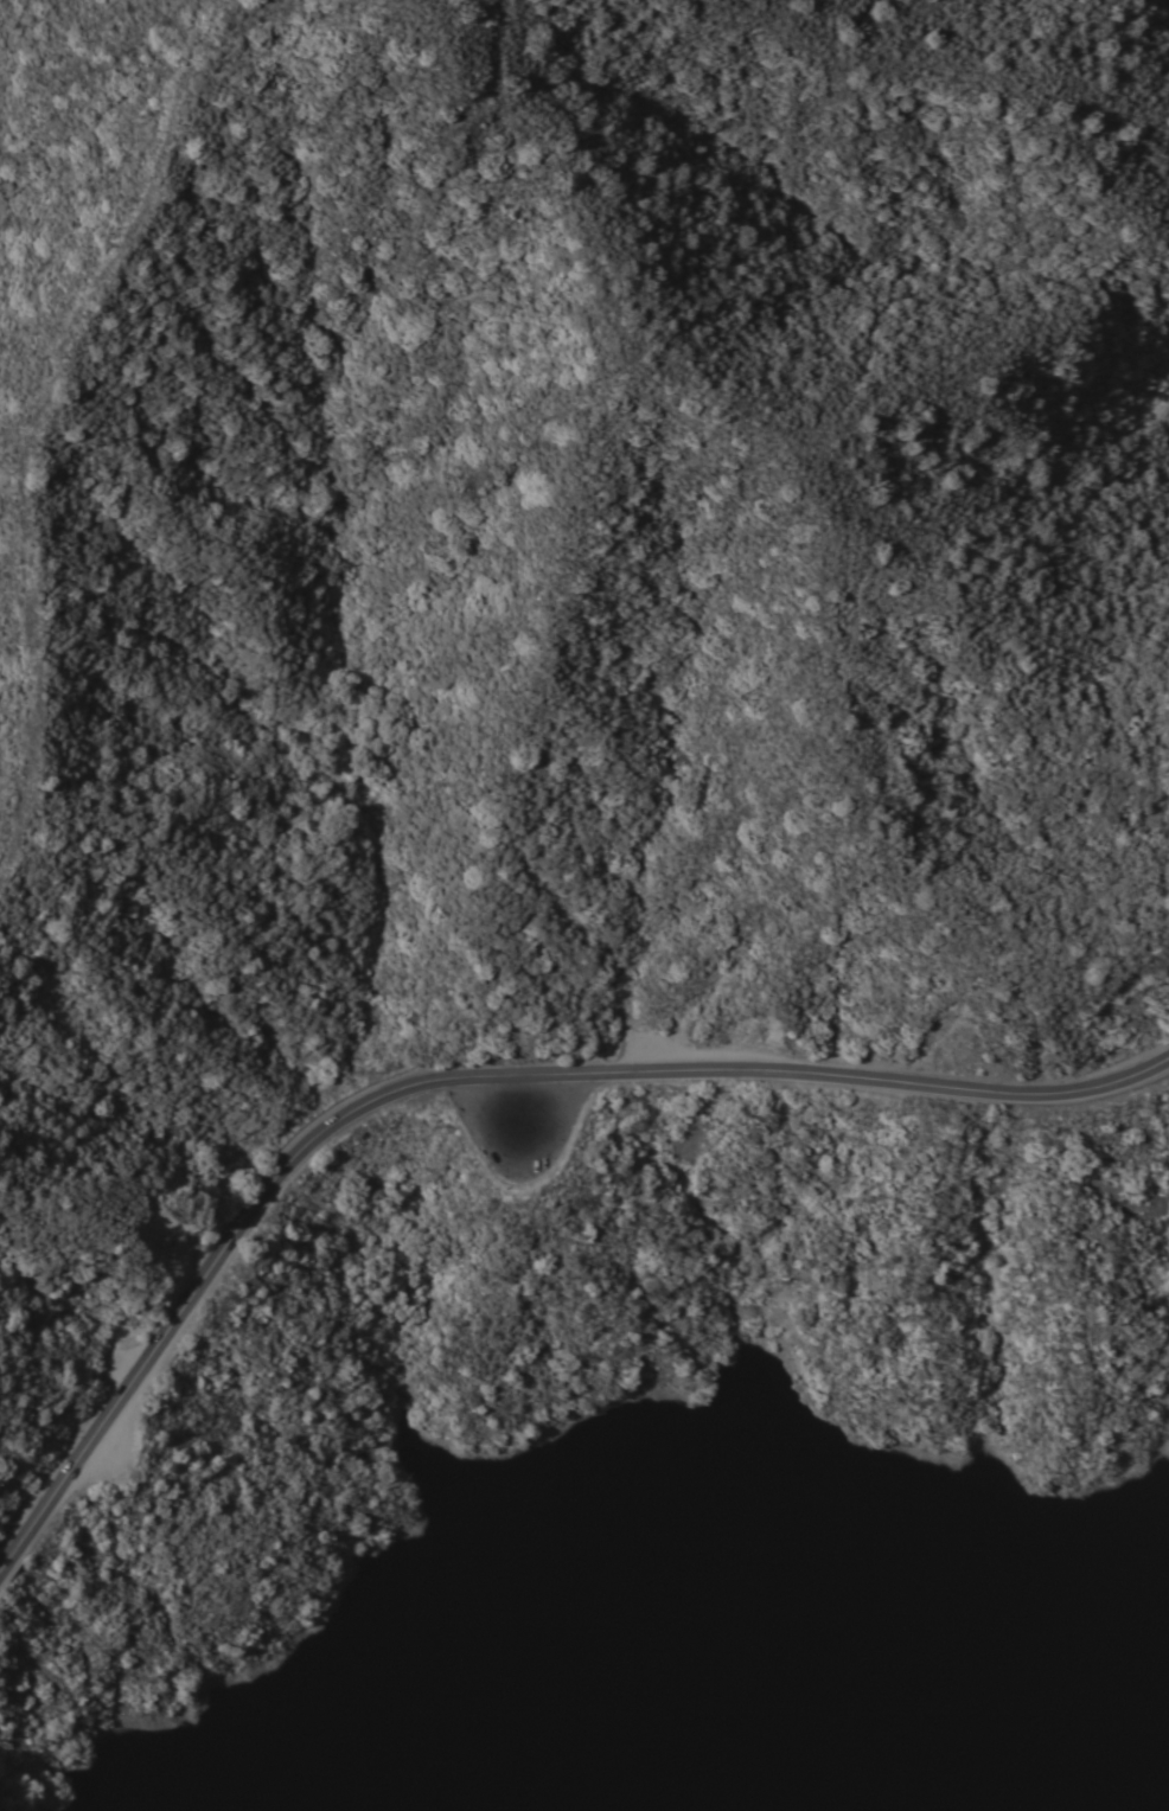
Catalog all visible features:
parking lot: (676, 1051)
road: (471, 1076)
parking lot: (525, 1125)
parking lot: (111, 1451)
river: (780, 1663)
river: (402, 1746)

